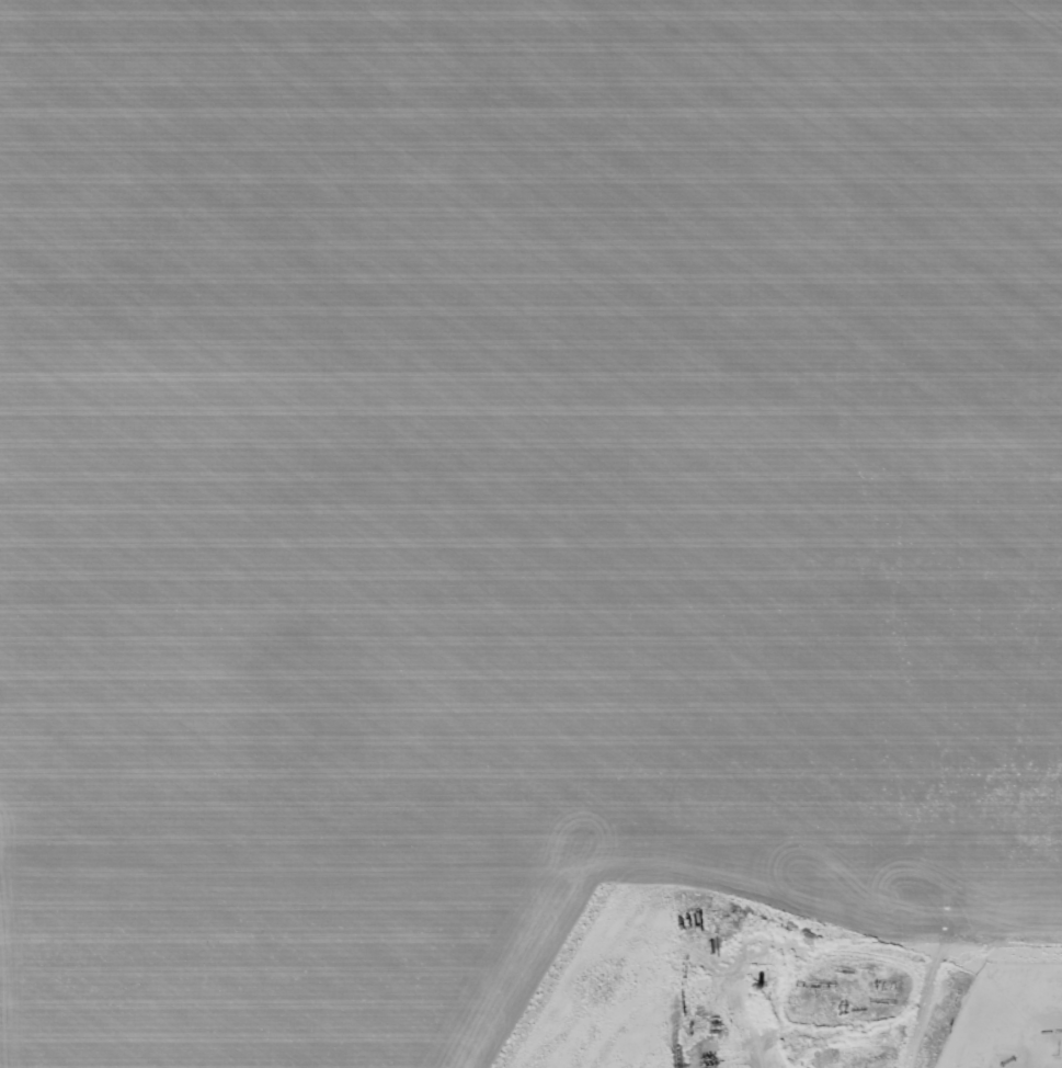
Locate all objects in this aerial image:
road: (1025, 1035)

